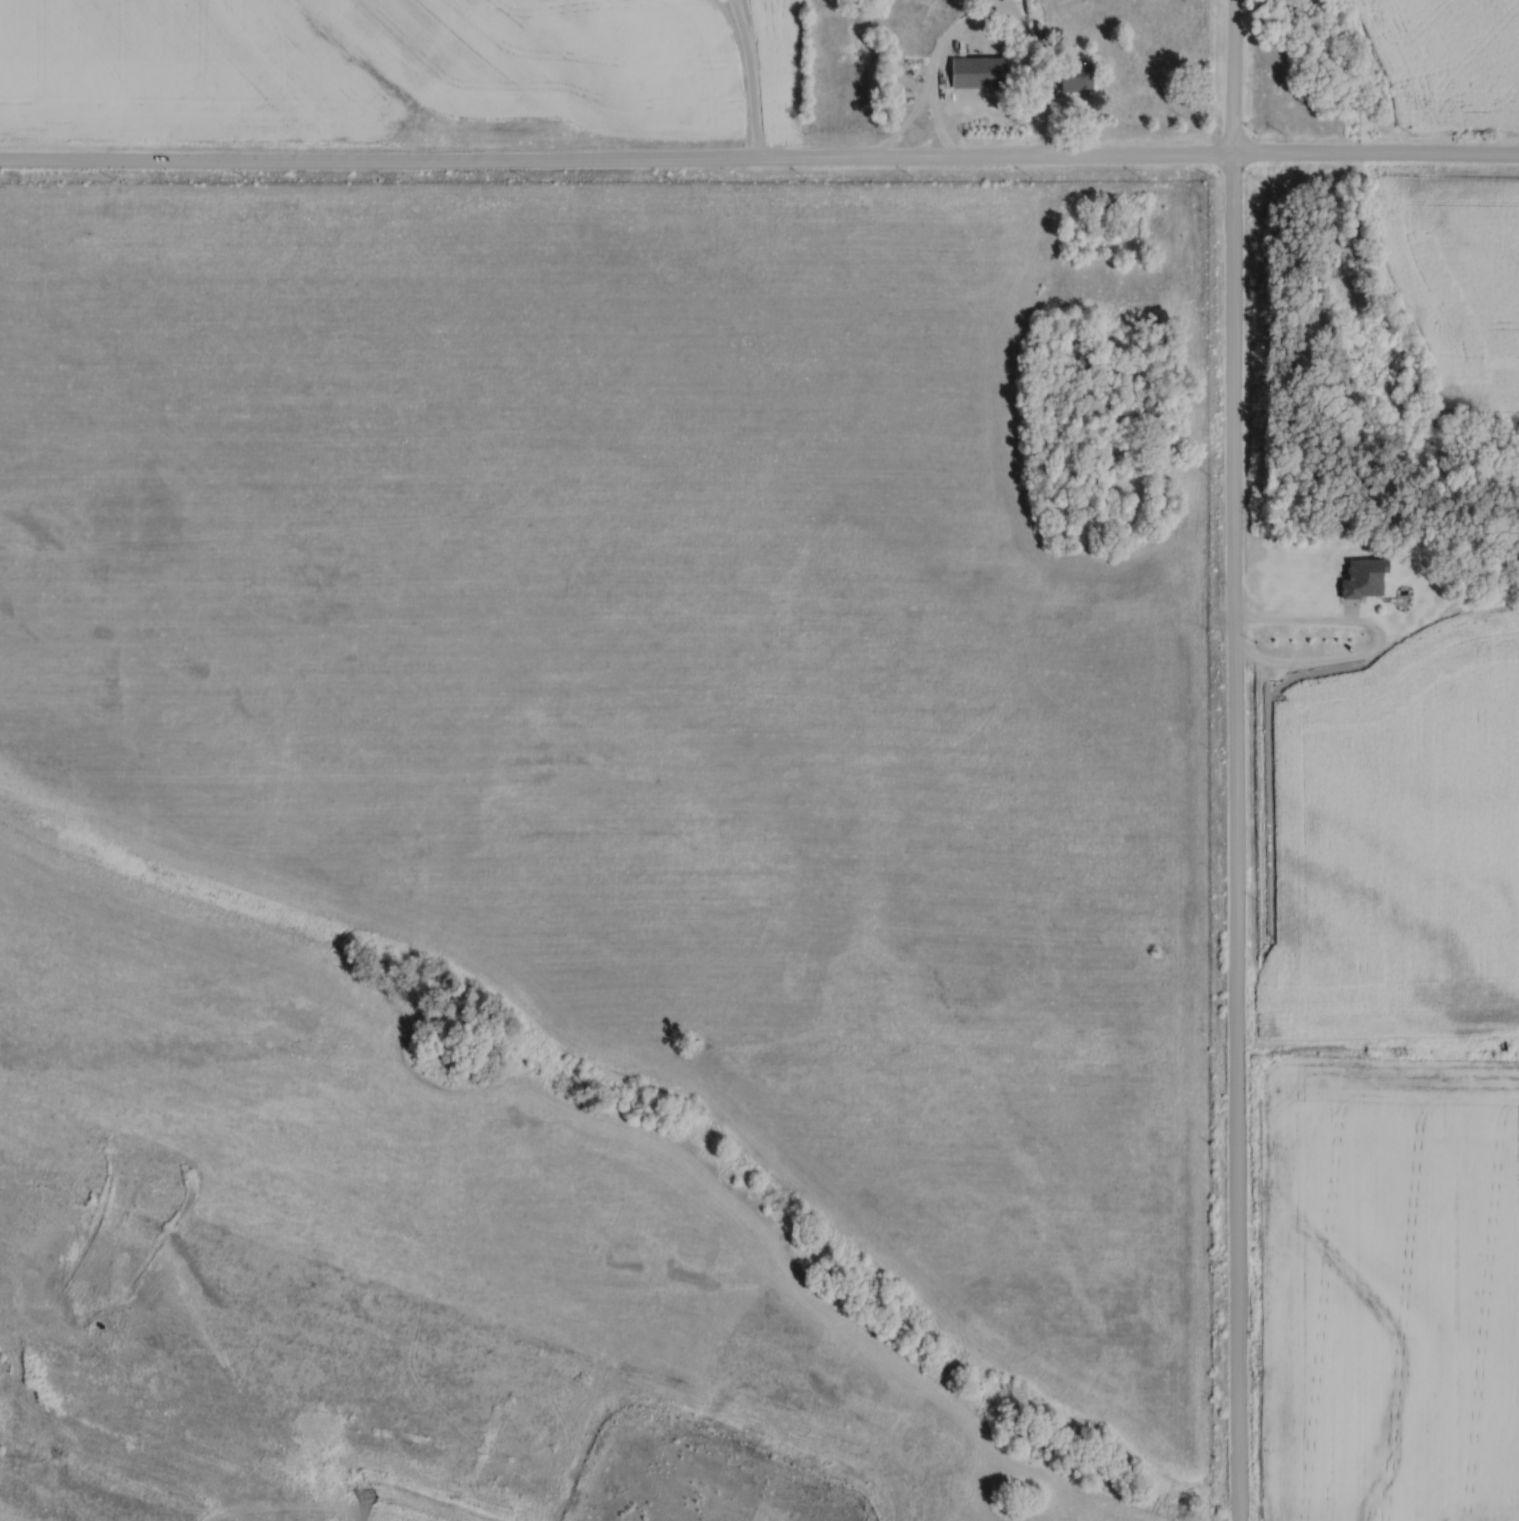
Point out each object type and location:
building: (979, 0)
road: (984, 18)
building: (984, 71)
building: (1076, 75)
road: (748, 80)
road: (759, 162)
building: (1369, 578)
road: (1373, 638)
road: (1234, 760)
road: (1333, 1044)

